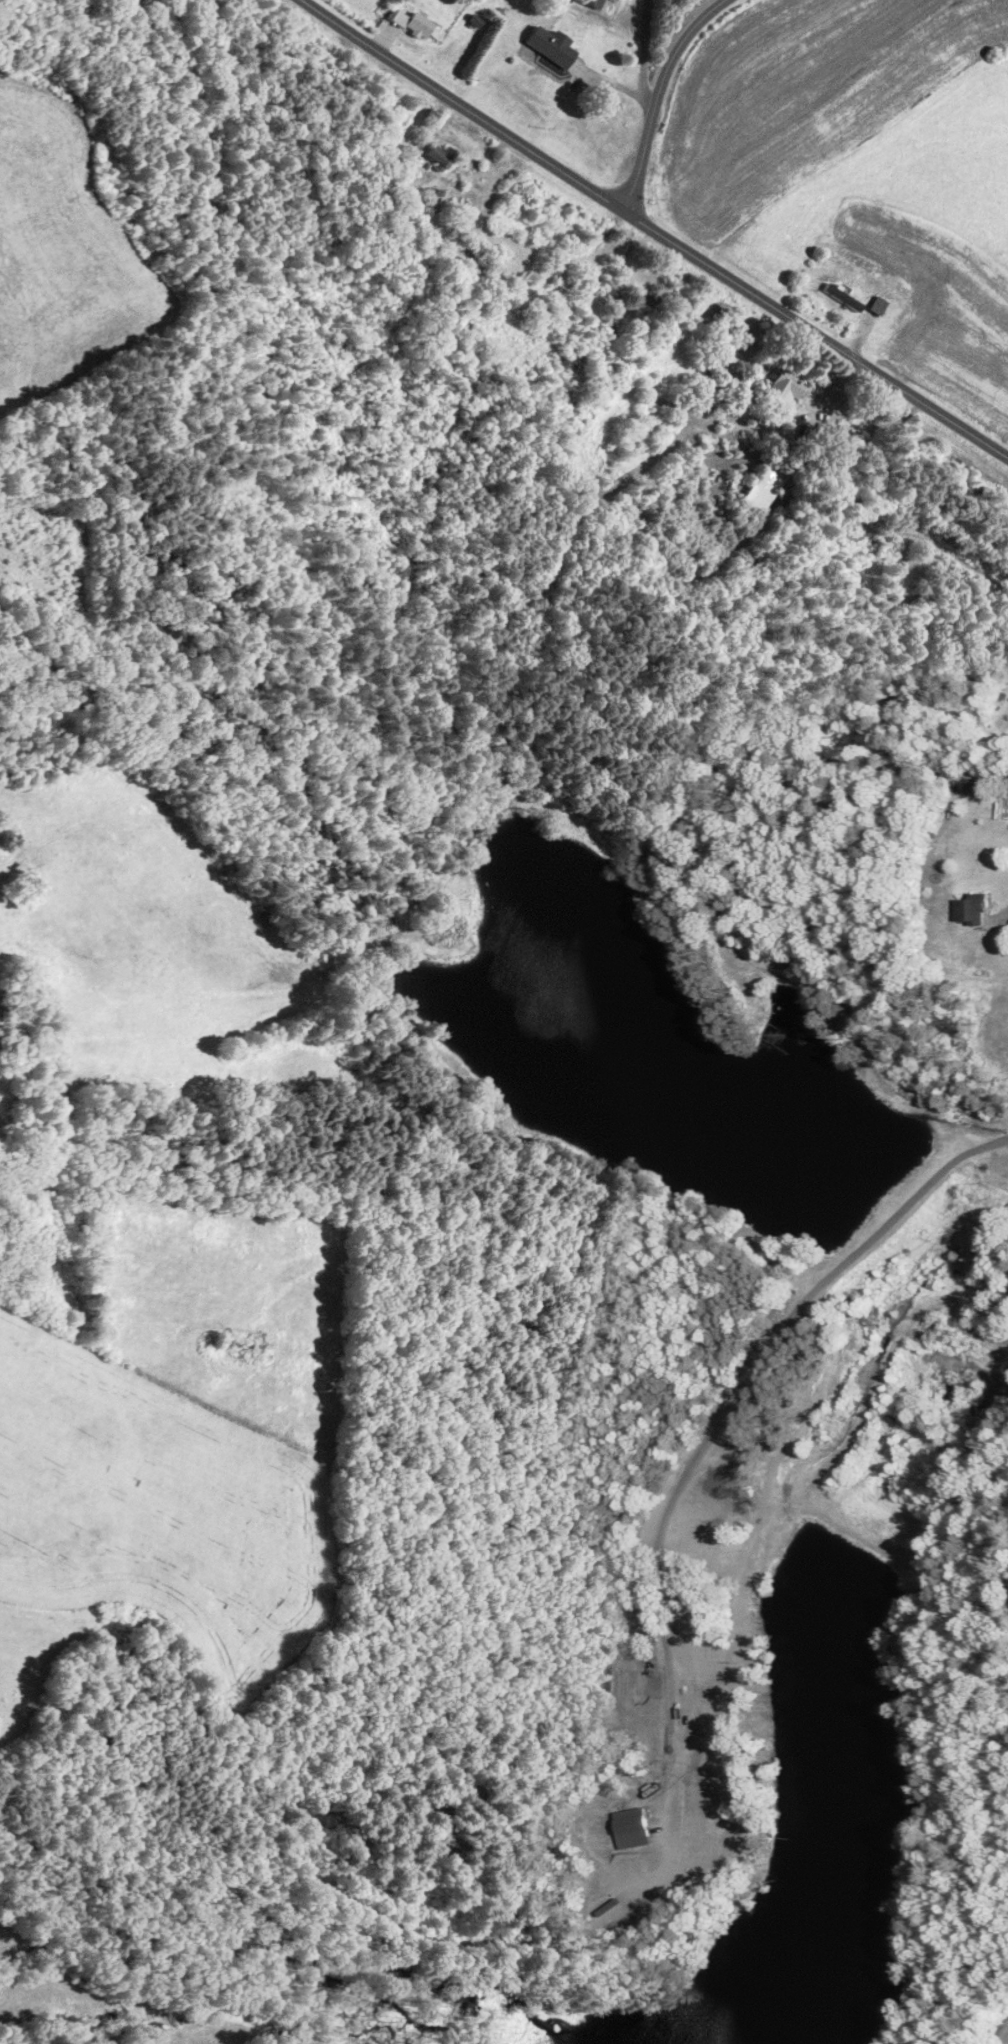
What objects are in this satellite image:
building: (594, 3)
building: (413, 22)
building: (552, 45)
road: (643, 67)
road: (657, 95)
building: (441, 156)
road: (654, 229)
building: (608, 288)
building: (845, 298)
building: (878, 305)
building: (614, 337)
building: (786, 388)
building: (764, 489)
building: (972, 909)
road: (723, 1406)

